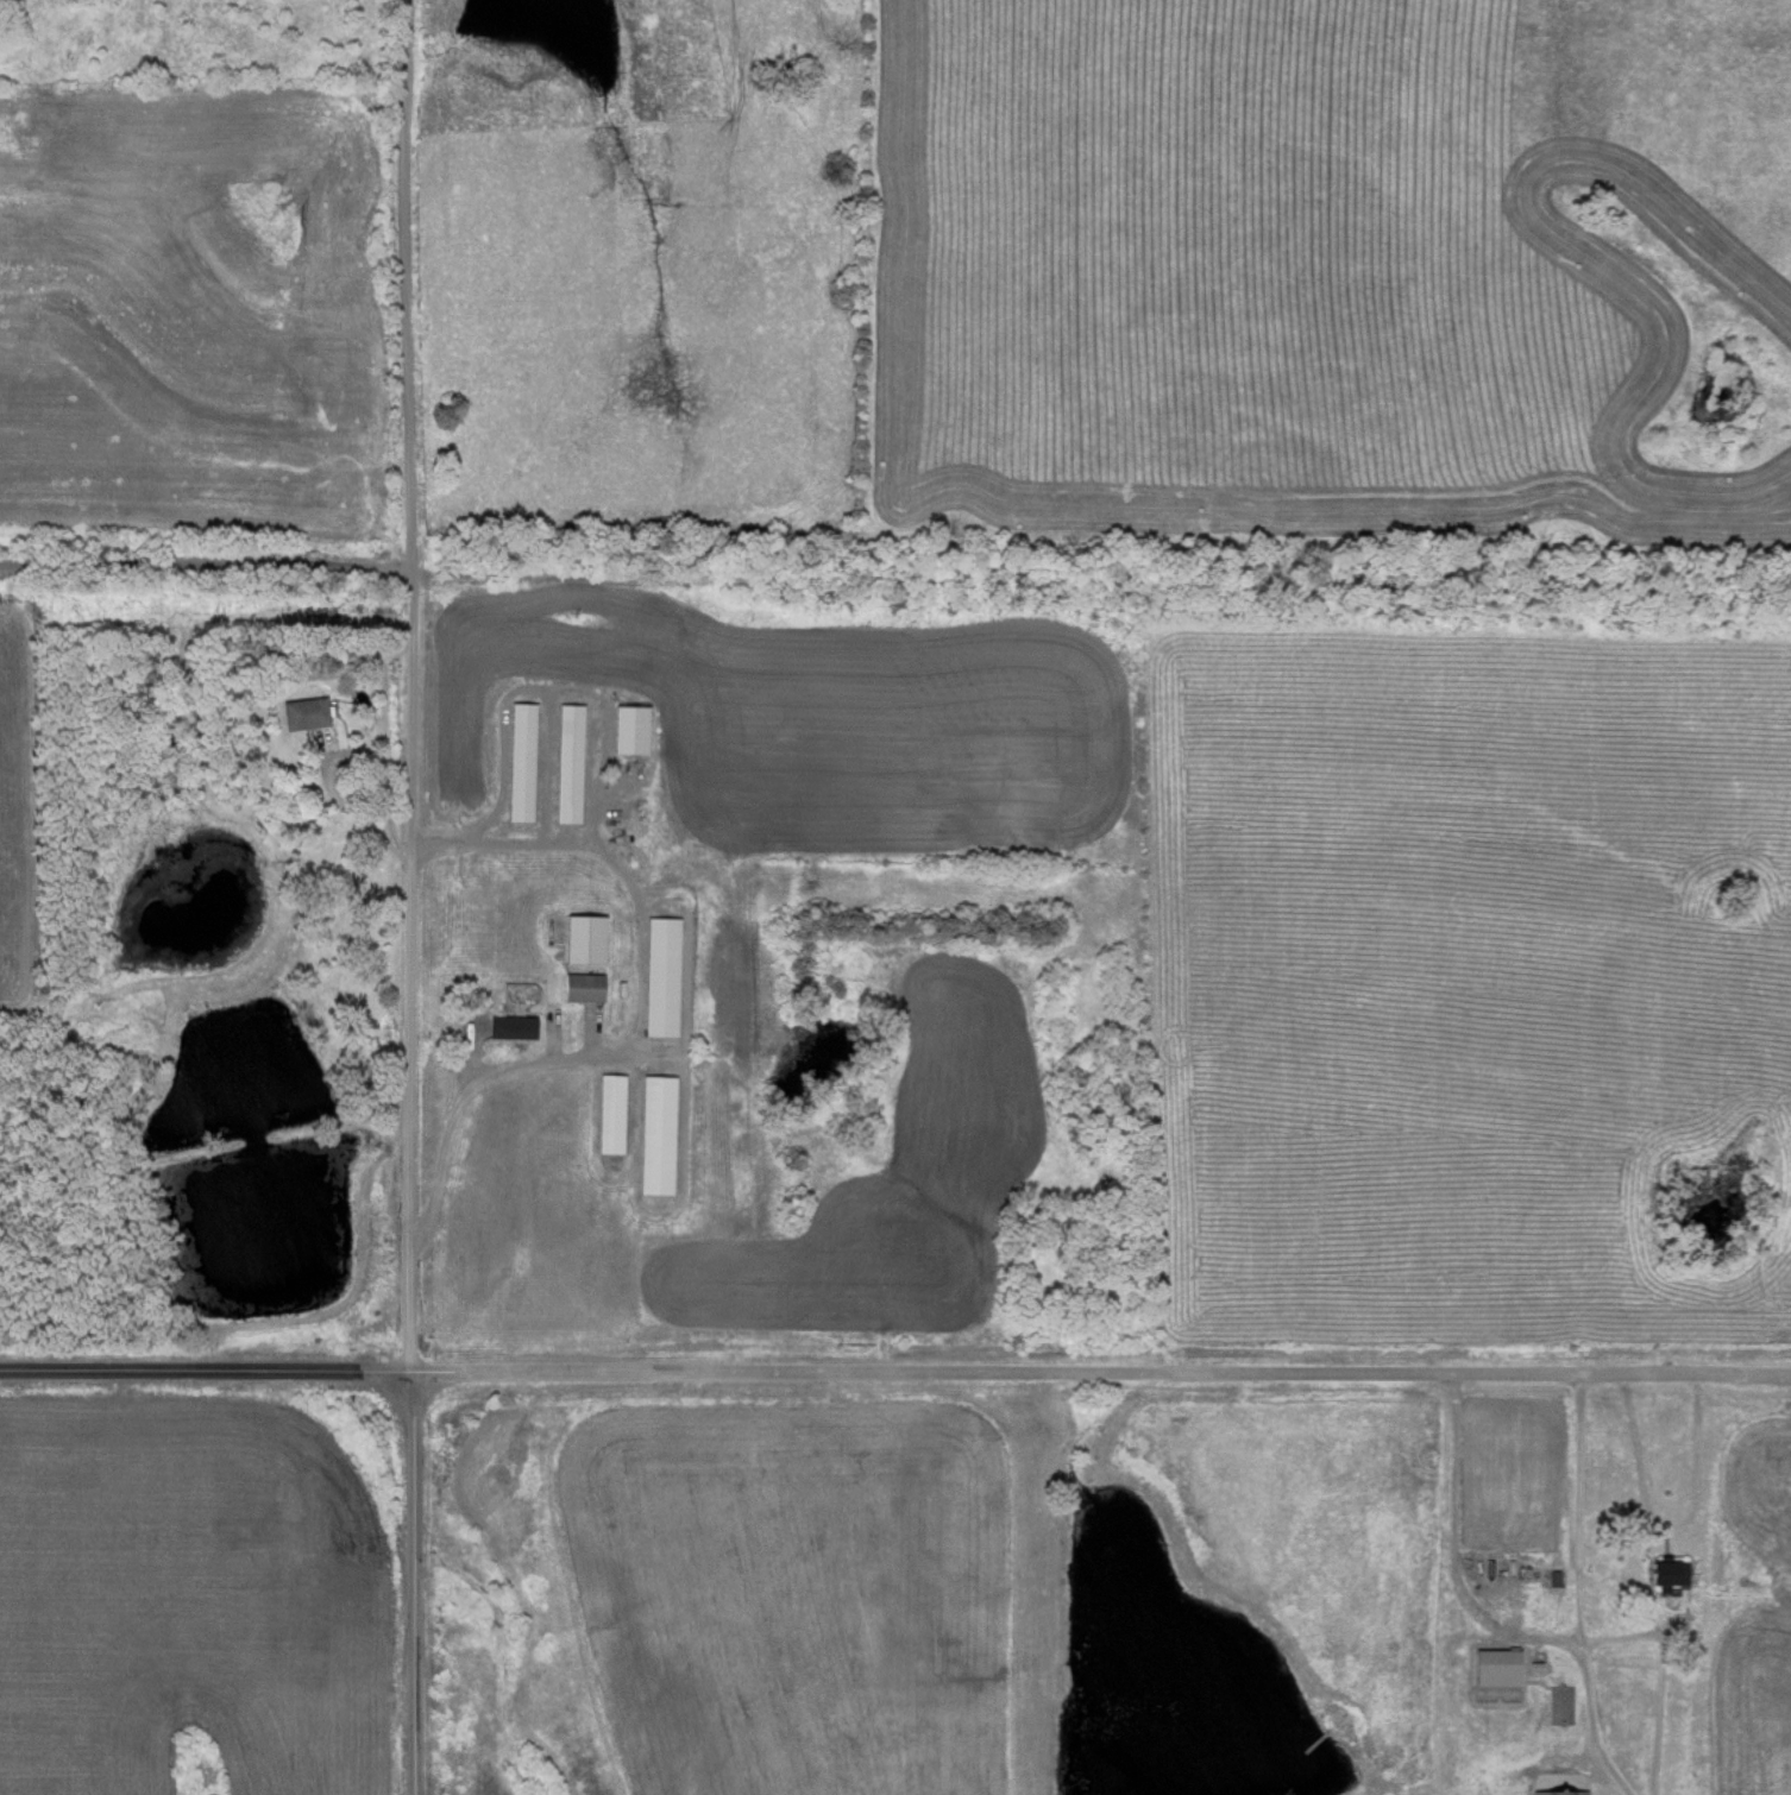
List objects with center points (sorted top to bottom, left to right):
crop: (199, 310)
road: (275, 562)
road: (416, 686)
road: (549, 697)
building: (303, 712)
building: (521, 762)
building: (568, 763)
road: (546, 771)
building: (584, 931)
building: (660, 976)
crop: (1470, 981)
building: (582, 987)
road: (634, 1022)
building: (510, 1027)
building: (610, 1114)
building: (655, 1135)
road: (681, 1157)
road: (616, 1160)
road: (203, 1367)
road: (1099, 1371)
building: (1669, 1573)
road: (410, 1583)
road: (1576, 1589)
building: (1496, 1670)

